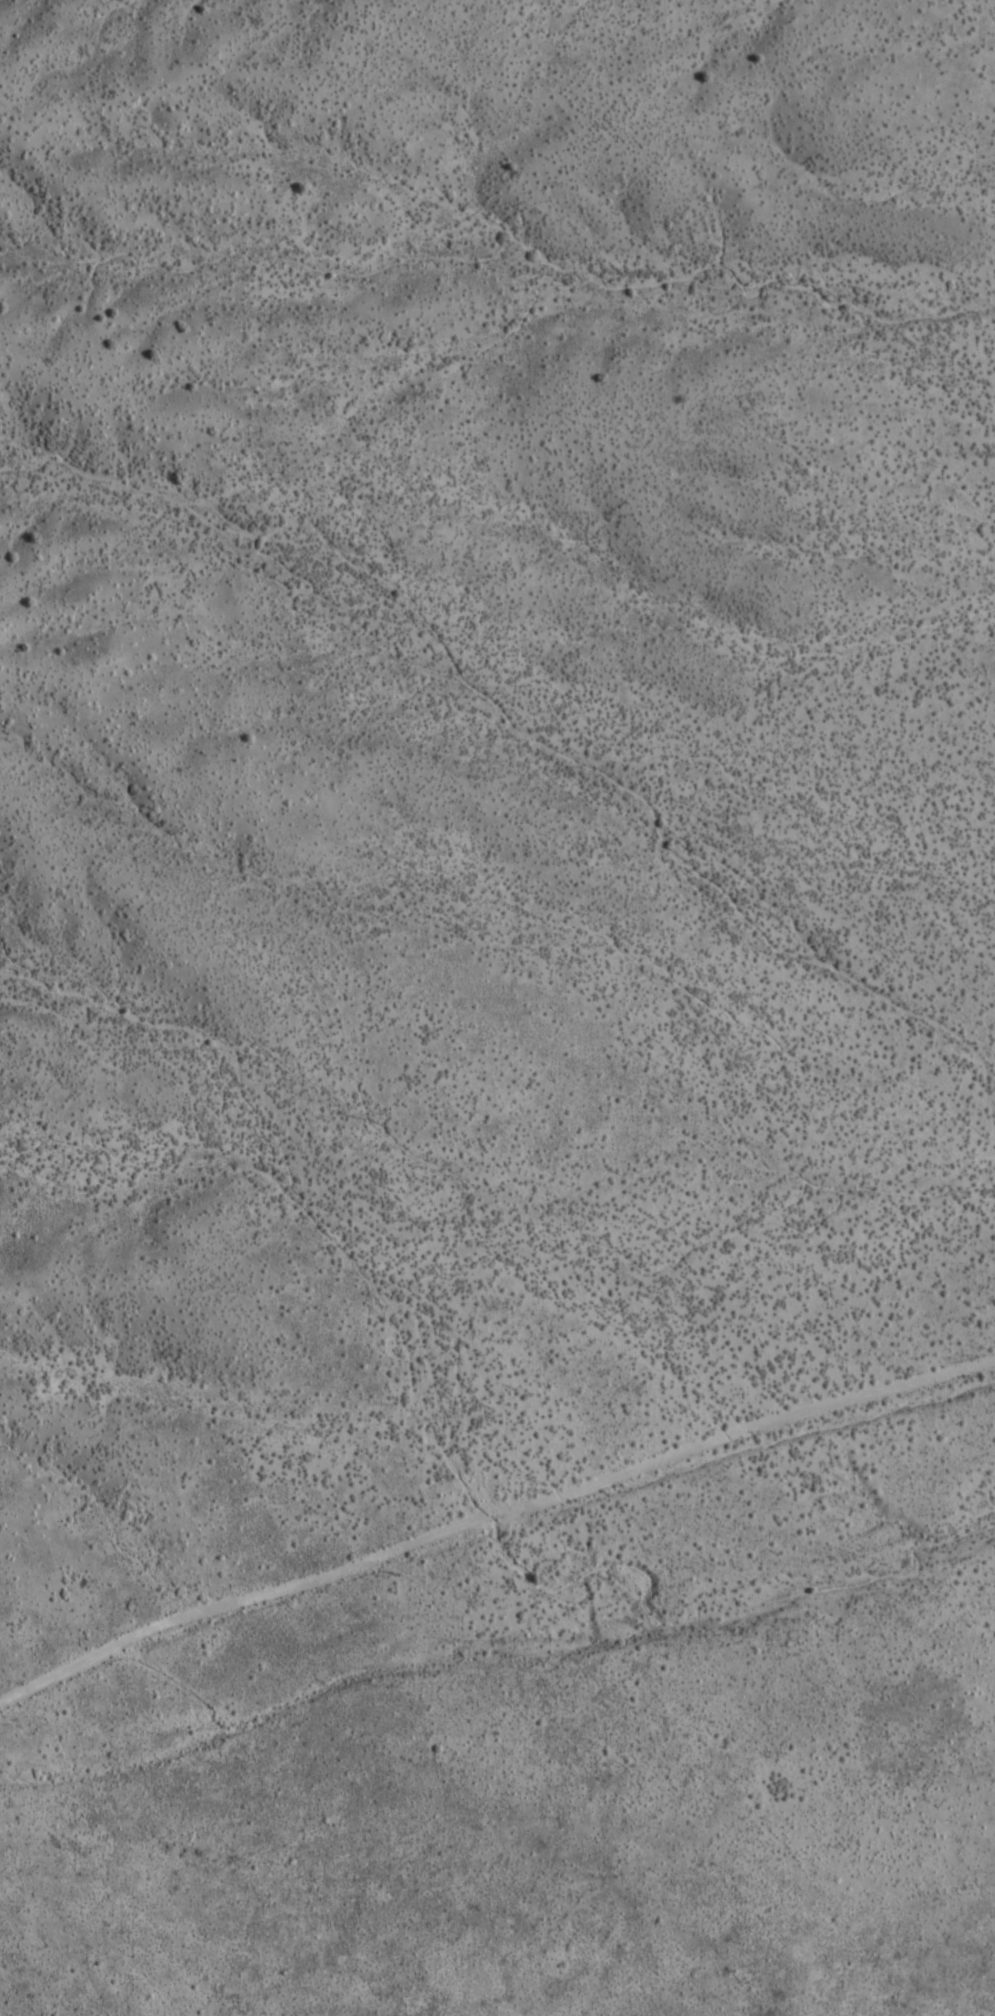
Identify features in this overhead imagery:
road: (492, 1516)

